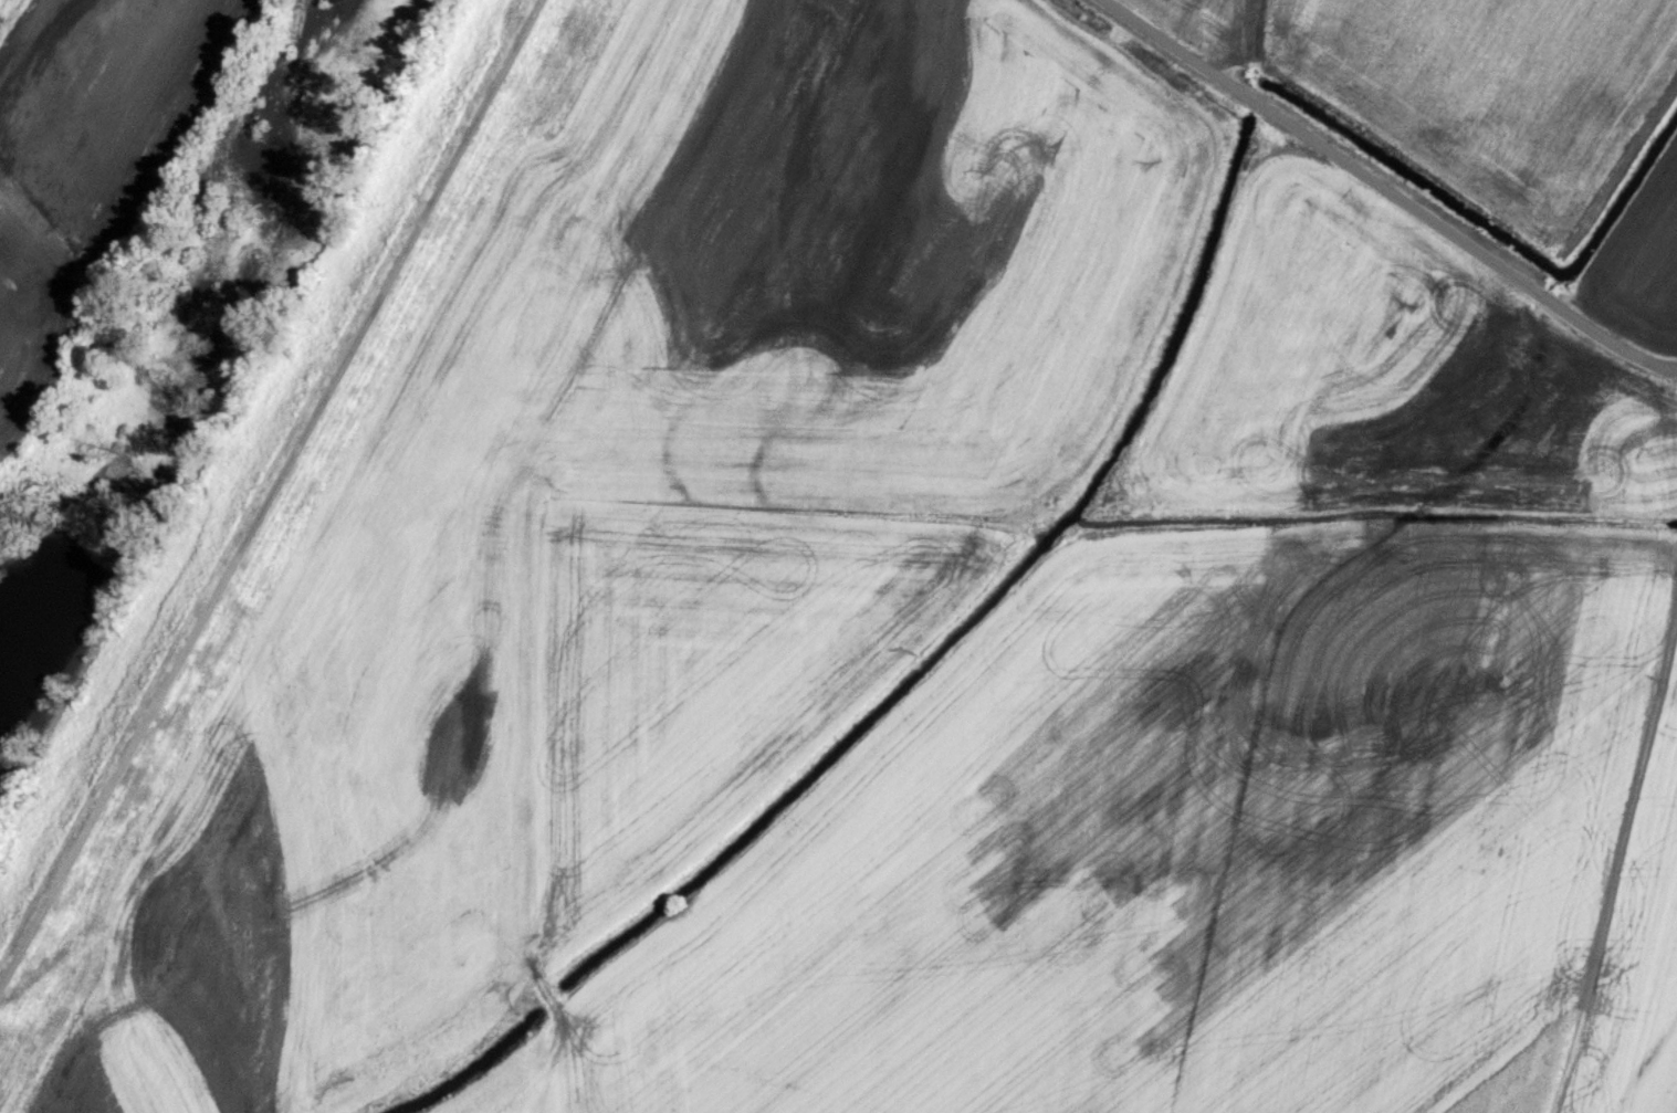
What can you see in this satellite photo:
road: (1390, 189)
road: (271, 494)

